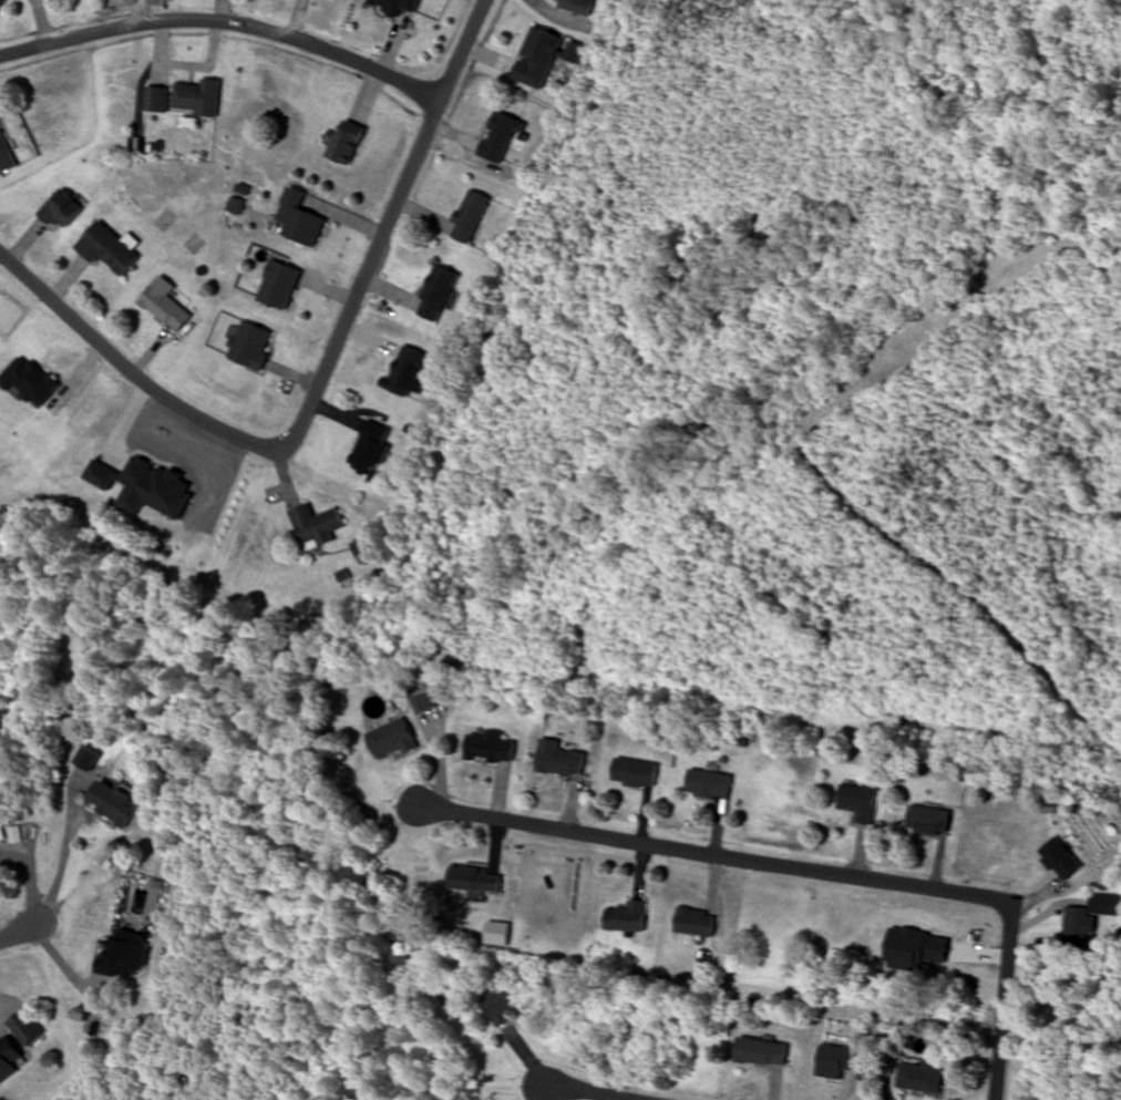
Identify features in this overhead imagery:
building: (394, 6)
building: (575, 6)
road: (226, 24)
road: (463, 51)
building: (573, 53)
building: (536, 58)
building: (198, 97)
building: (156, 100)
building: (498, 138)
building: (347, 142)
building: (4, 155)
building: (62, 210)
building: (470, 217)
building: (300, 219)
building: (110, 249)
road: (28, 278)
road: (366, 280)
building: (280, 286)
building: (438, 294)
building: (166, 309)
building: (251, 346)
building: (410, 370)
building: (27, 381)
road: (163, 394)
building: (371, 449)
building: (316, 526)
building: (422, 703)
building: (391, 740)
building: (488, 748)
building: (89, 759)
building: (559, 760)
building: (635, 773)
building: (709, 785)
building: (115, 803)
building: (858, 803)
building: (928, 821)
road: (714, 855)
building: (1060, 860)
building: (473, 880)
building: (626, 918)
building: (696, 923)
building: (1076, 928)
road: (17, 934)
building: (126, 956)
road: (1005, 1000)
building: (502, 1007)
building: (24, 1028)
building: (761, 1053)
building: (9, 1059)
building: (922, 1078)
road: (589, 1092)

